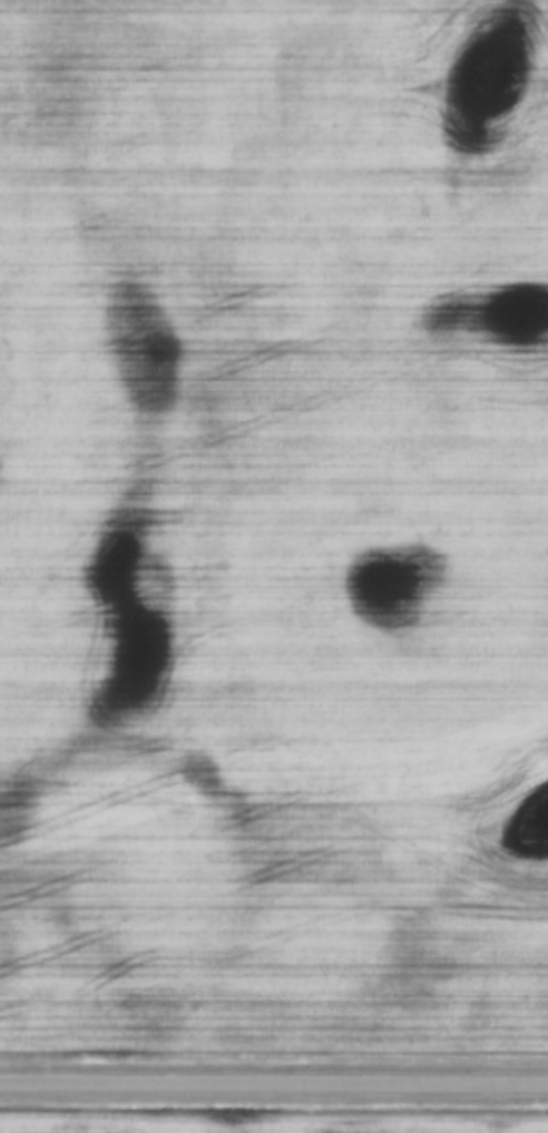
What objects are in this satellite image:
road: (274, 1074)

